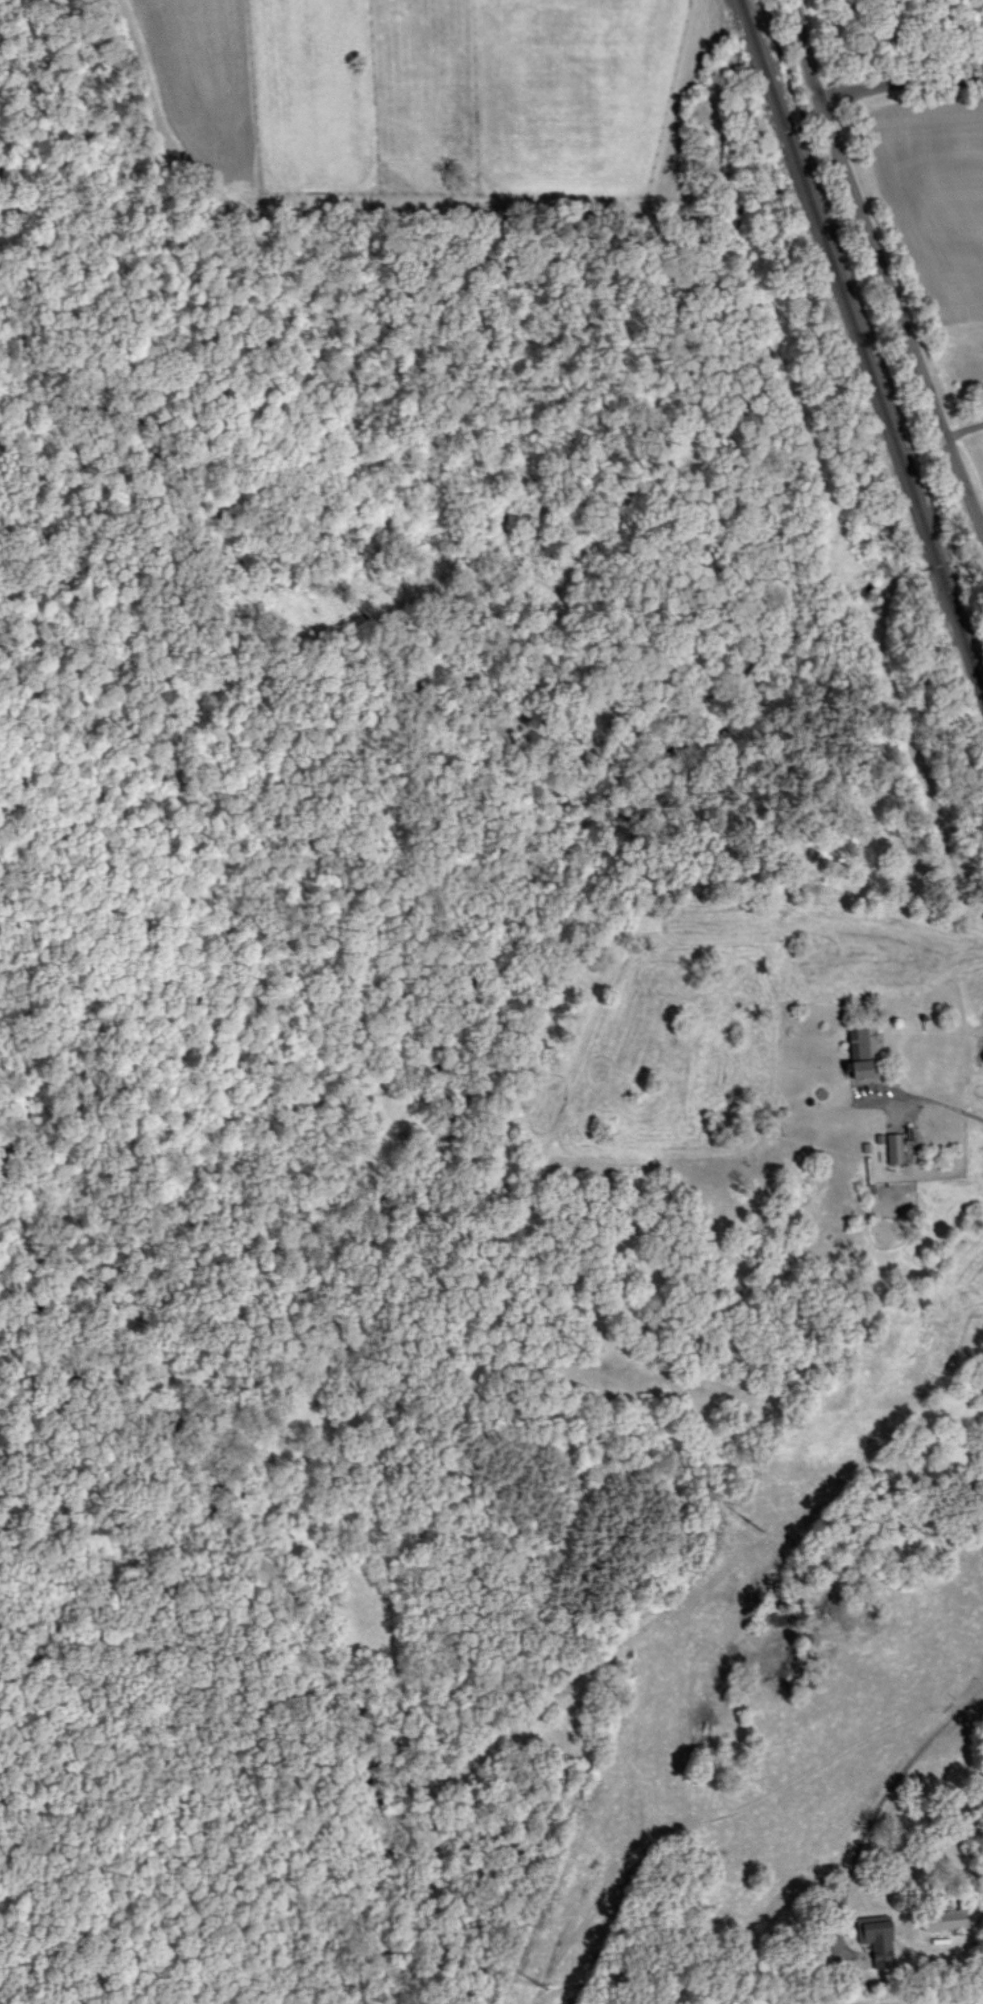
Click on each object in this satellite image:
road: (905, 78)
road: (884, 269)
railway: (862, 342)
building: (863, 1050)
road: (950, 1115)
building: (895, 1147)
road: (876, 1807)
building: (945, 1919)
building: (877, 1938)

